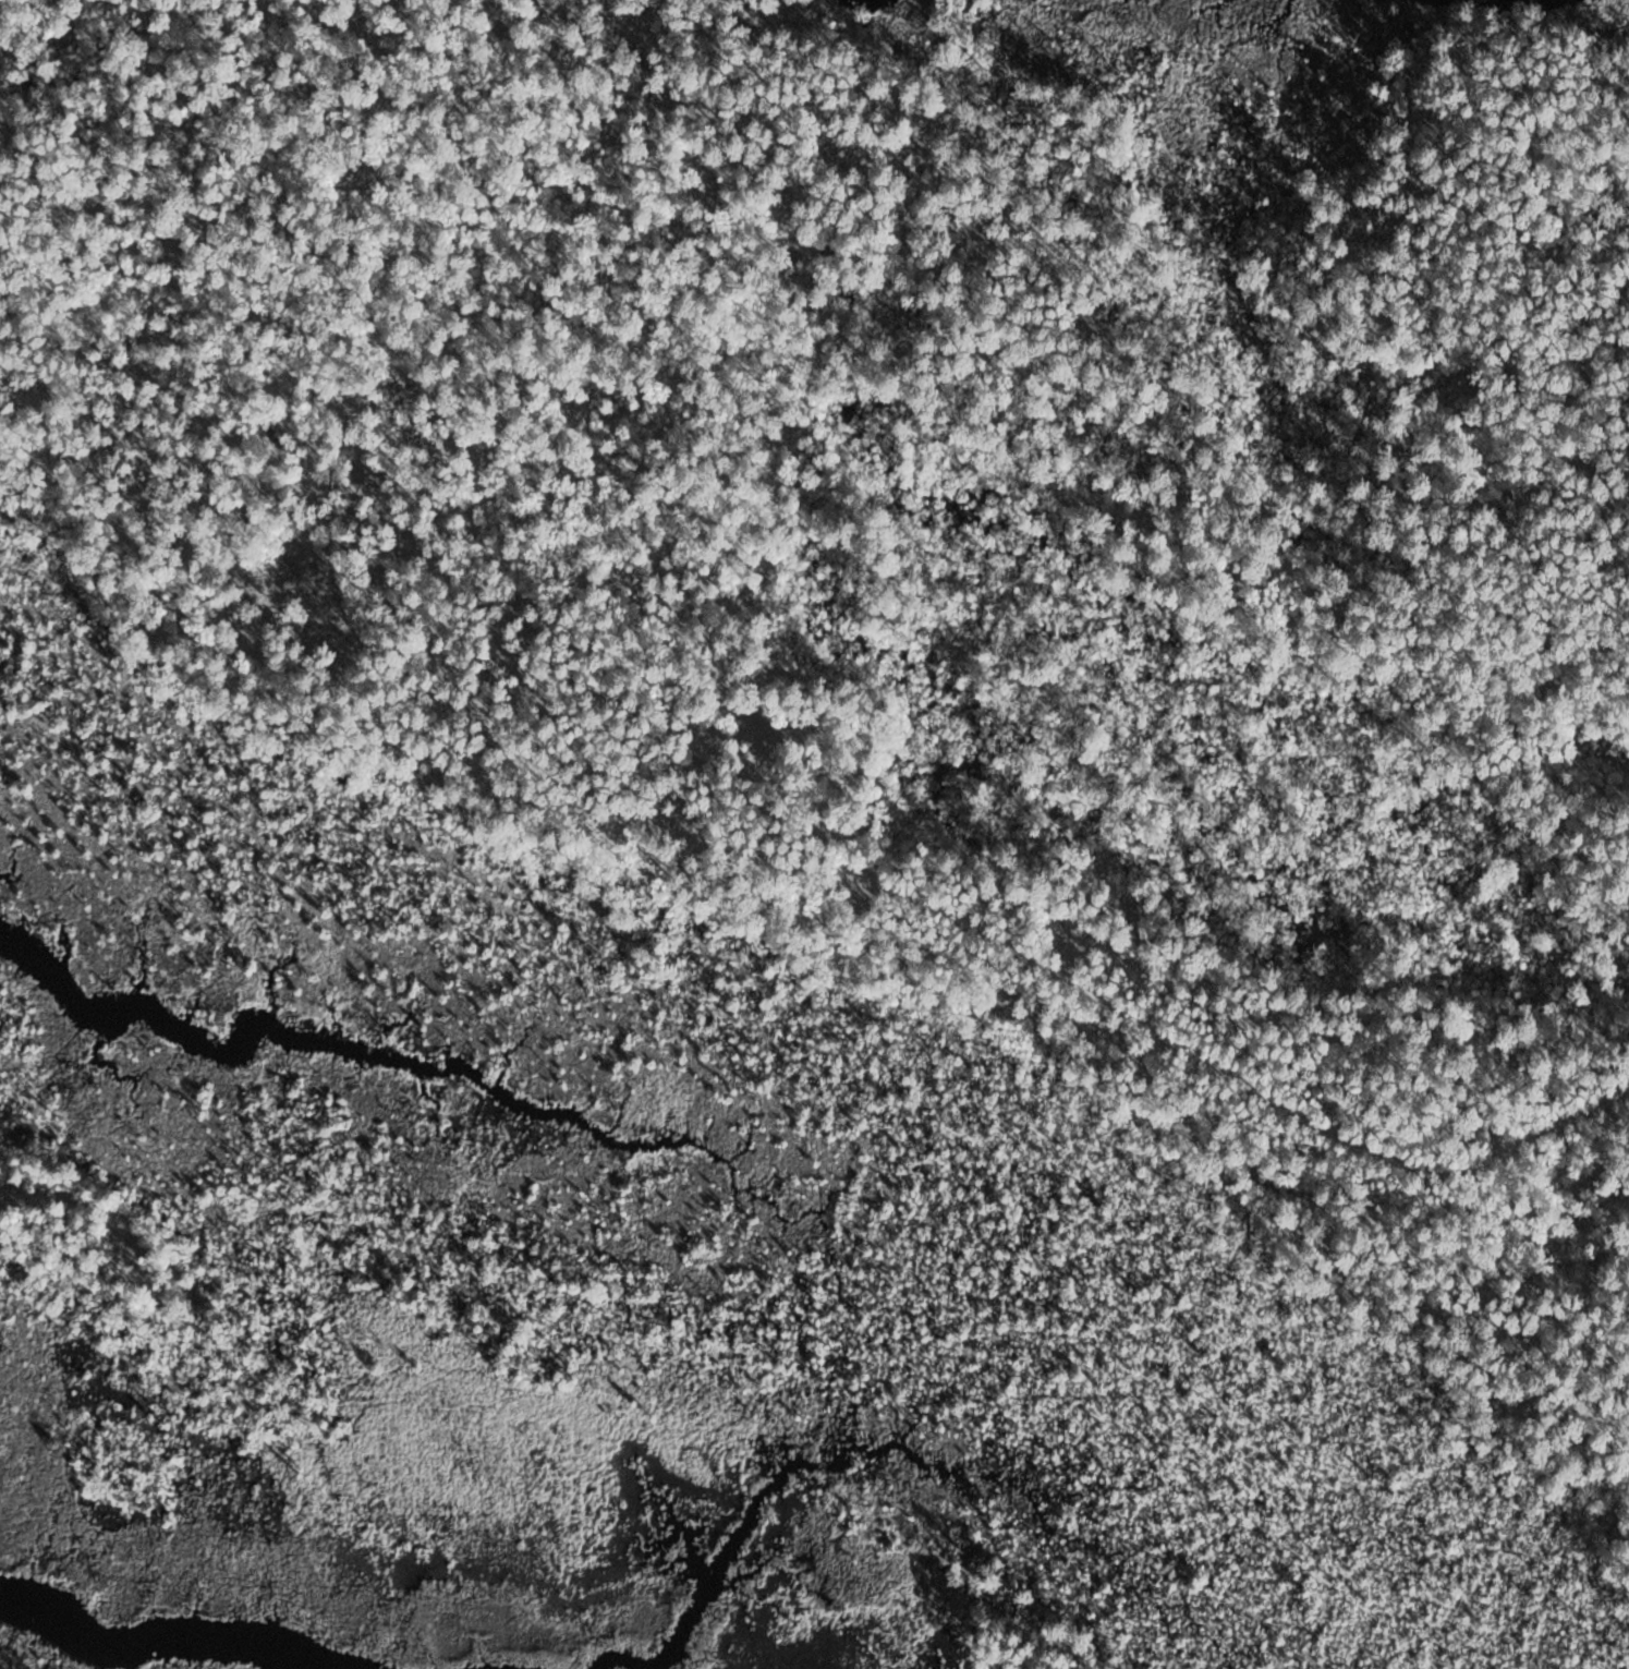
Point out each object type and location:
road: (426, 585)
parking lot: (864, 886)
road: (824, 891)
road: (827, 926)
road: (1235, 1073)

